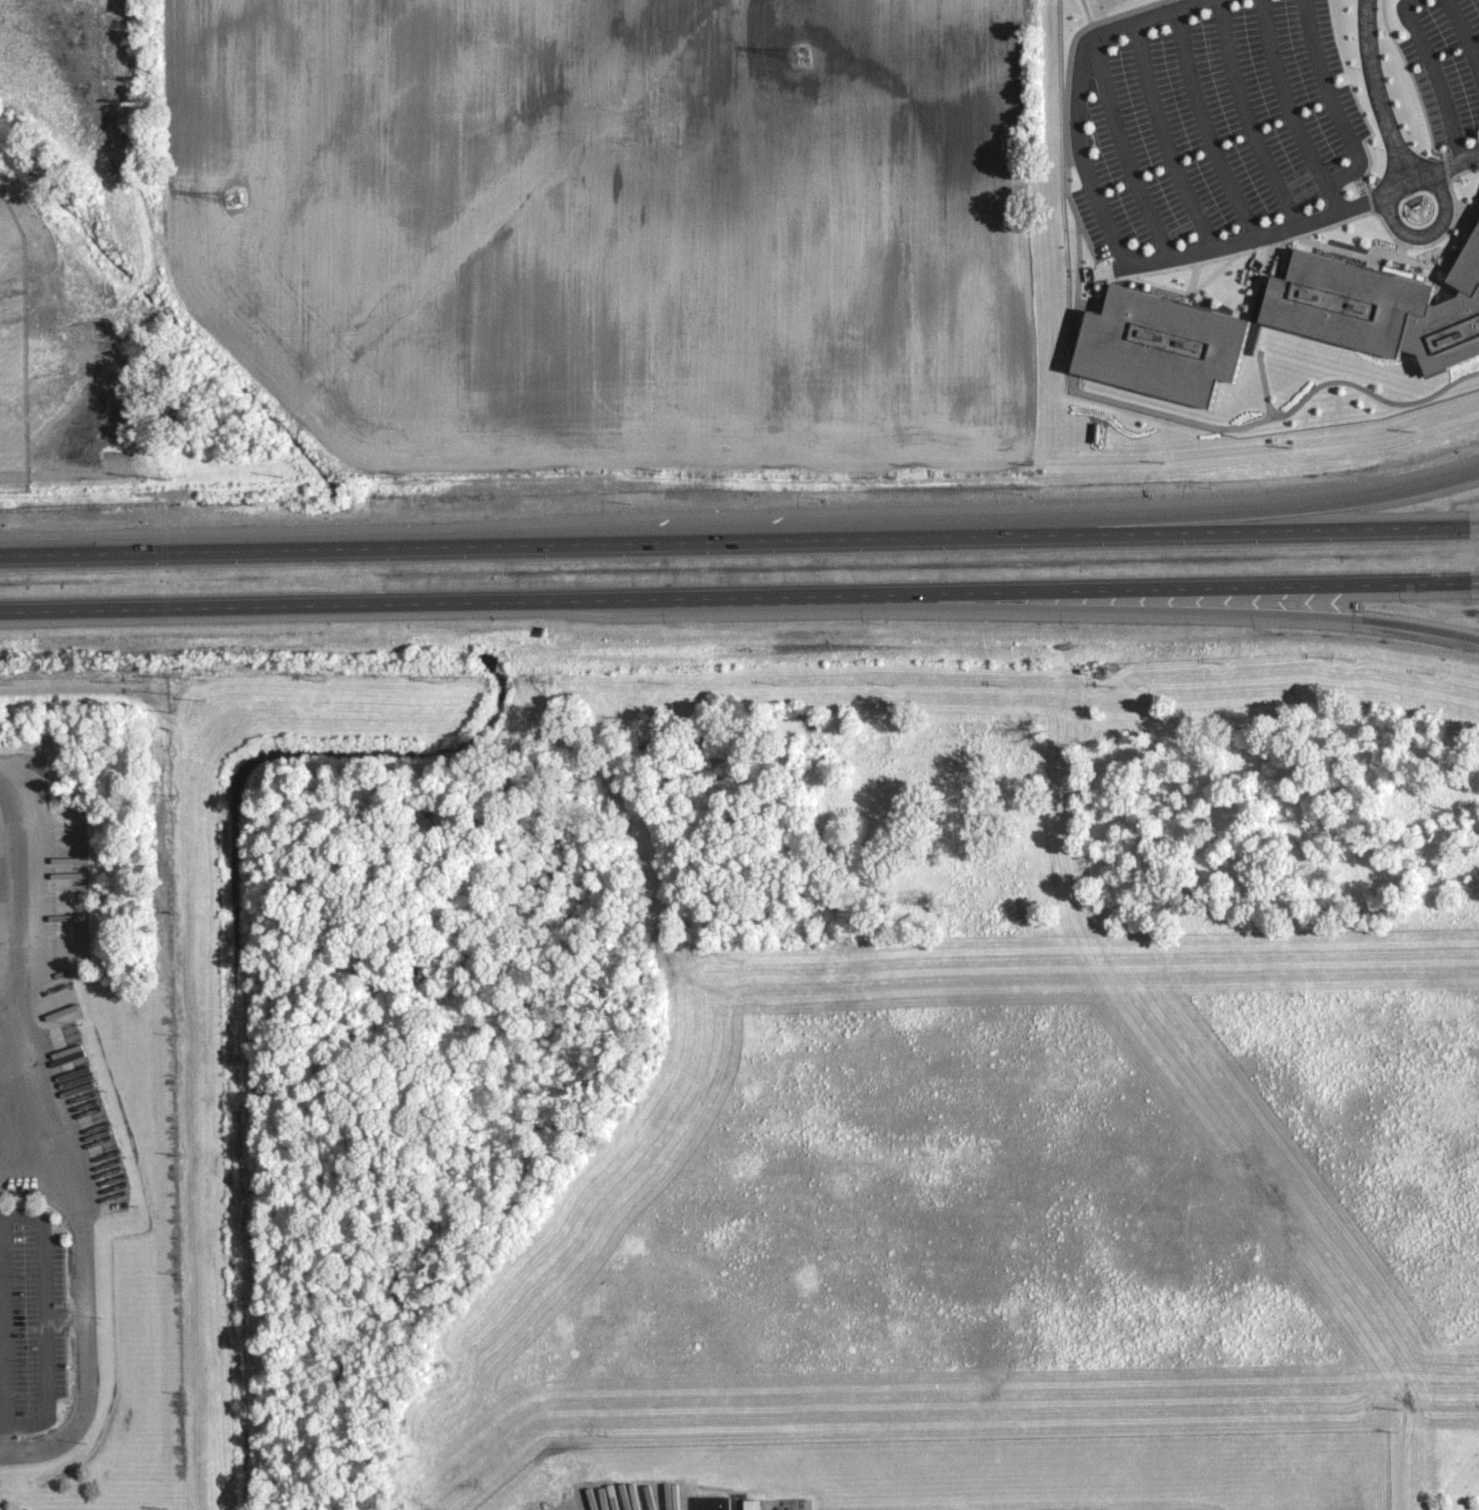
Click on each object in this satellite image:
road: (1462, 36)
power tower: (801, 56)
parking lot: (1443, 69)
road: (1439, 77)
road: (1382, 87)
road: (1334, 104)
road: (1289, 108)
road: (1246, 117)
parking lot: (1255, 120)
road: (1203, 130)
road: (1122, 150)
road: (129, 158)
road: (1454, 162)
road: (1085, 173)
road: (1180, 184)
power tower: (235, 200)
road: (1422, 234)
building: (1468, 267)
building: (1347, 303)
road: (1251, 513)
road: (739, 539)
road: (739, 597)
road: (1147, 609)
road: (31, 1148)
road: (21, 1215)
road: (63, 1318)
road: (3, 1379)
road: (3, 1416)
building: (710, 1503)
building: (748, 1504)

